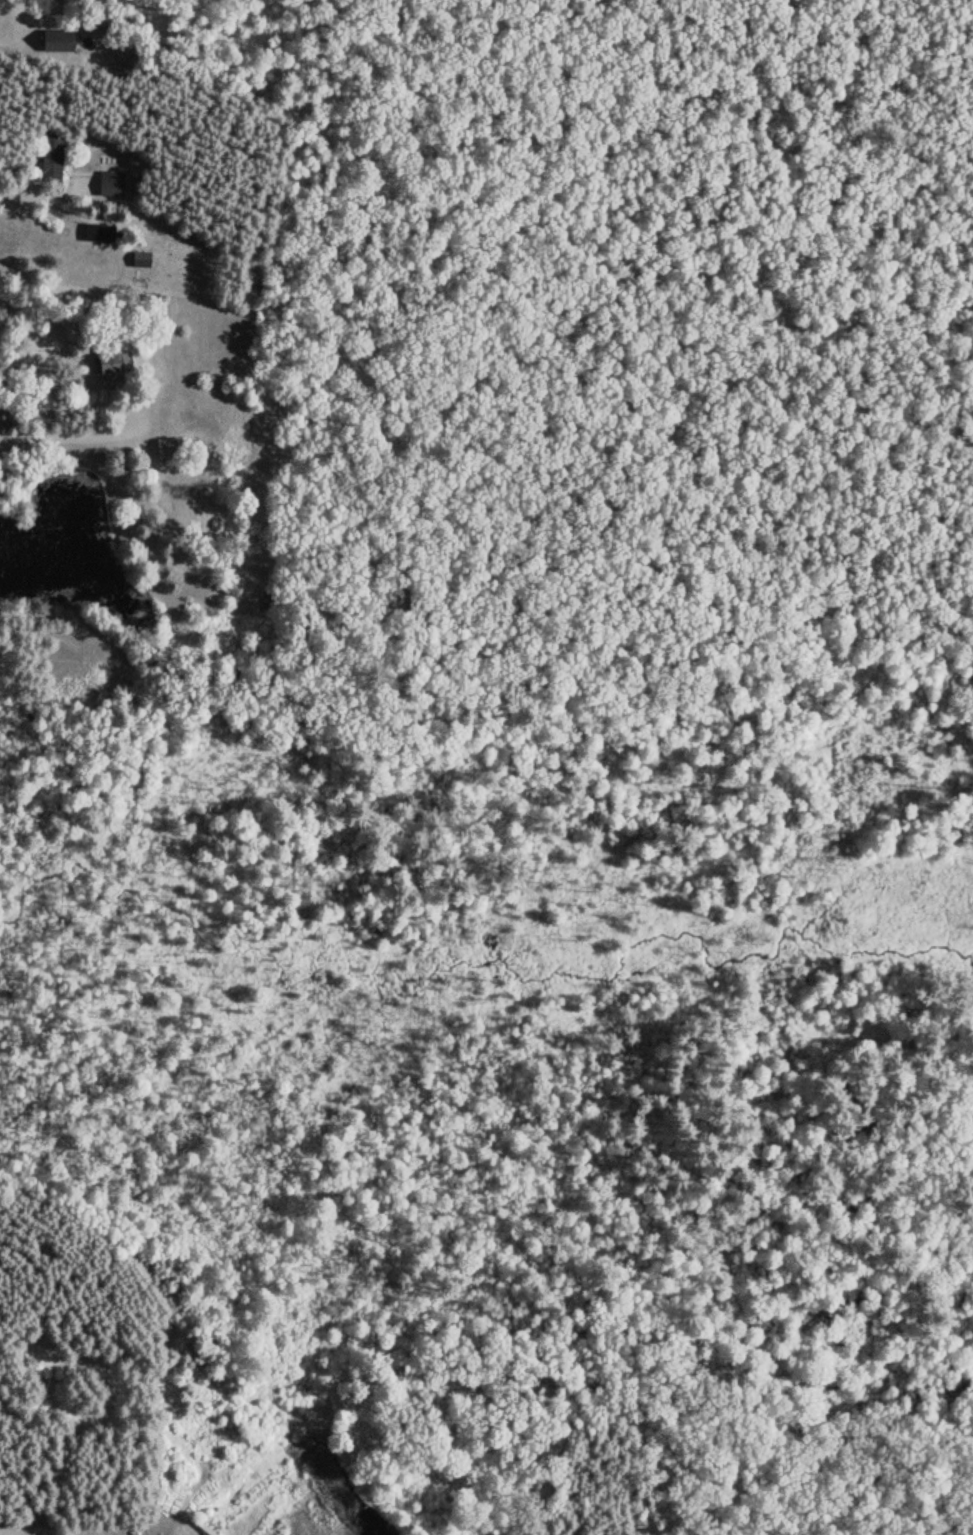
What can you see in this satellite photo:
building: (55, 39)
building: (52, 157)
building: (112, 181)
building: (98, 232)
building: (141, 257)
building: (111, 361)
road: (81, 433)
building: (168, 446)
road: (59, 1432)

